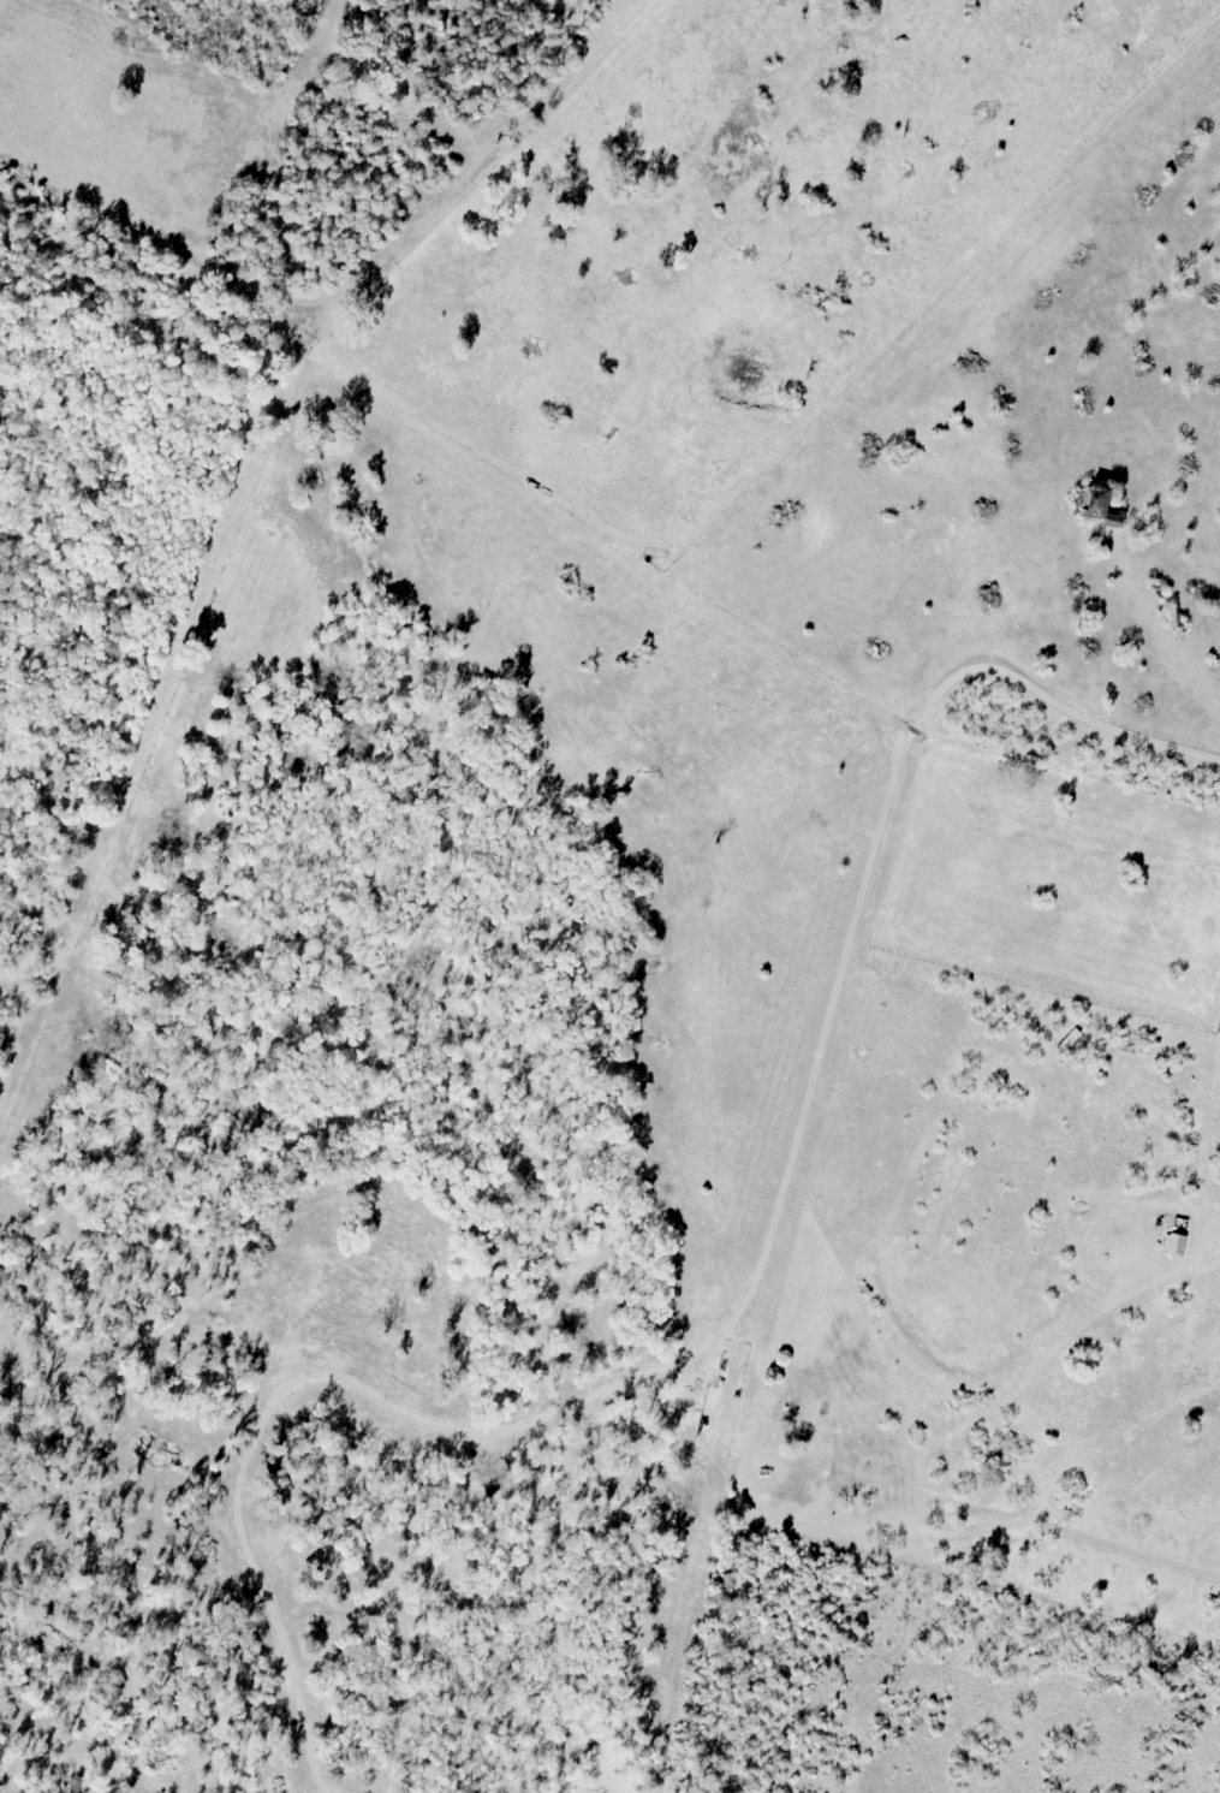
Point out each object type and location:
building: (1099, 501)
building: (1160, 592)
building: (1180, 619)
building: (1072, 1041)
building: (1179, 1237)
road: (748, 1302)

